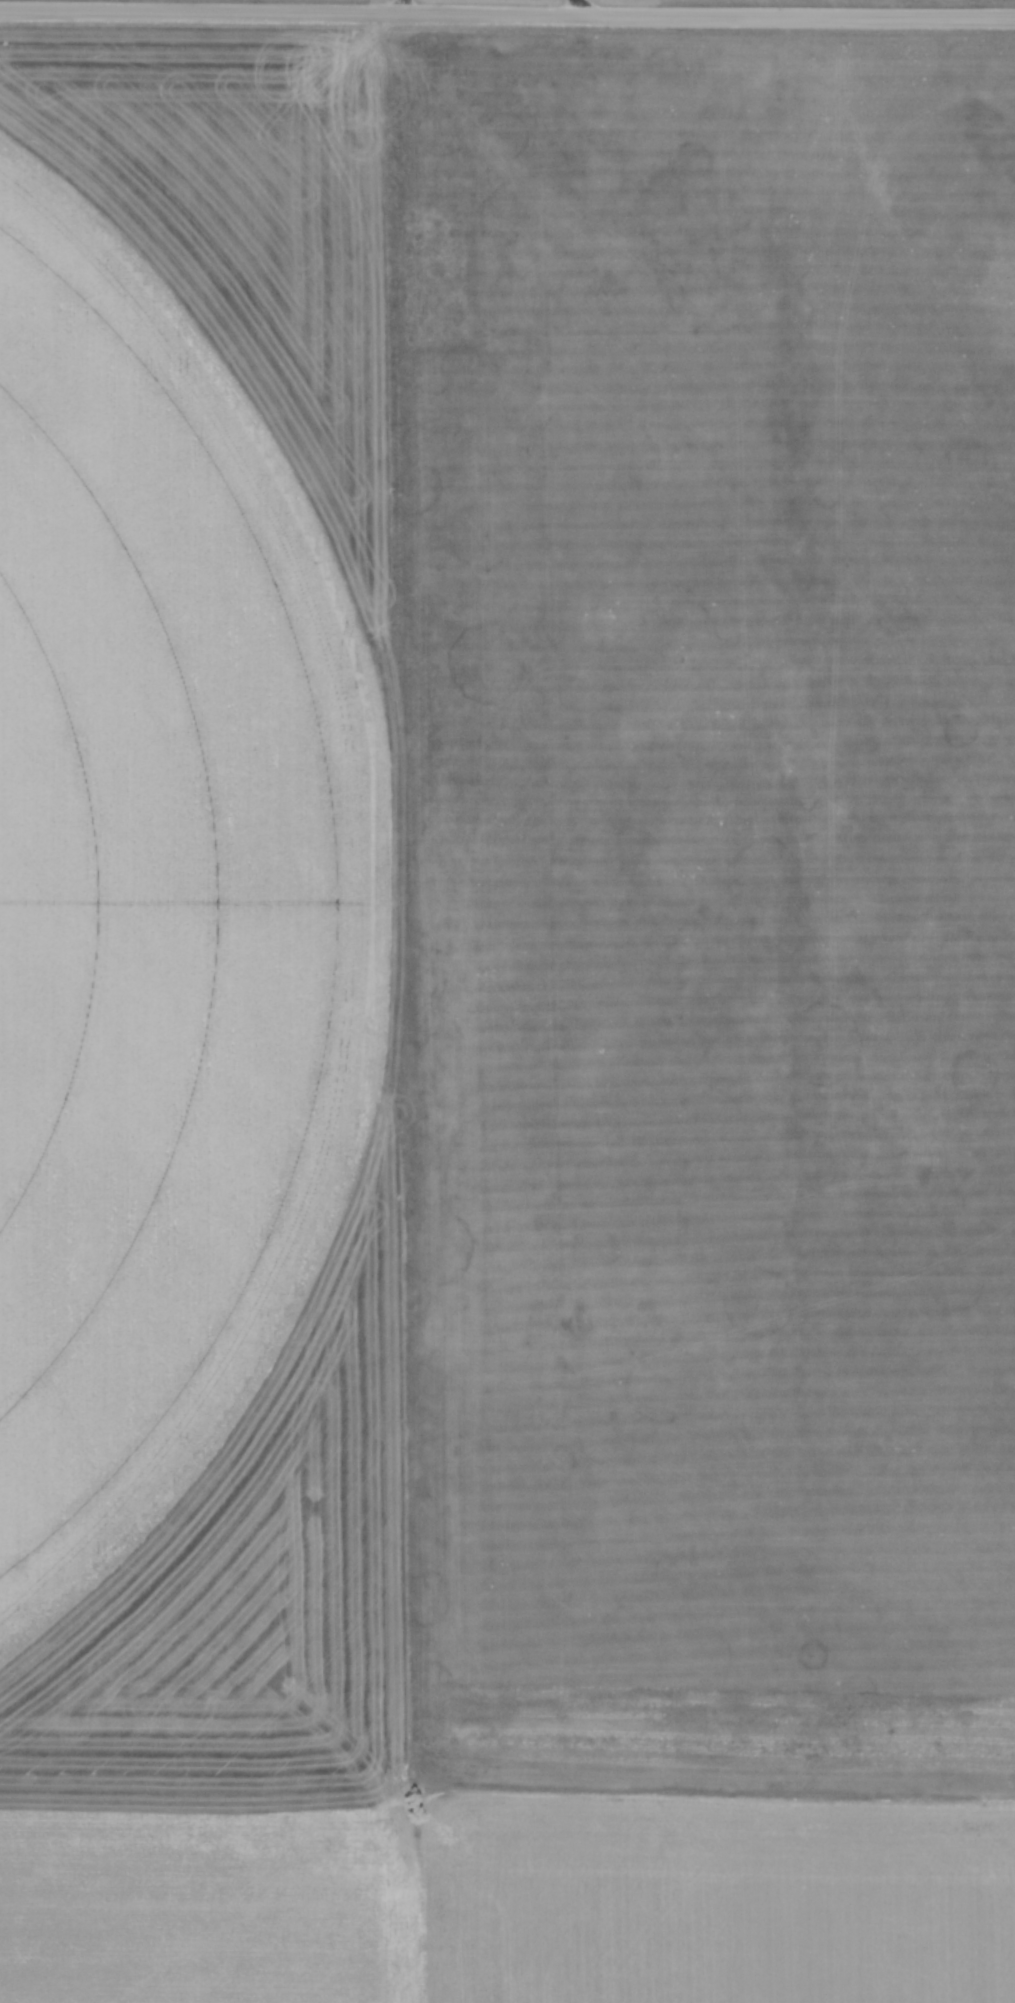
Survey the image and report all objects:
road: (507, 17)

